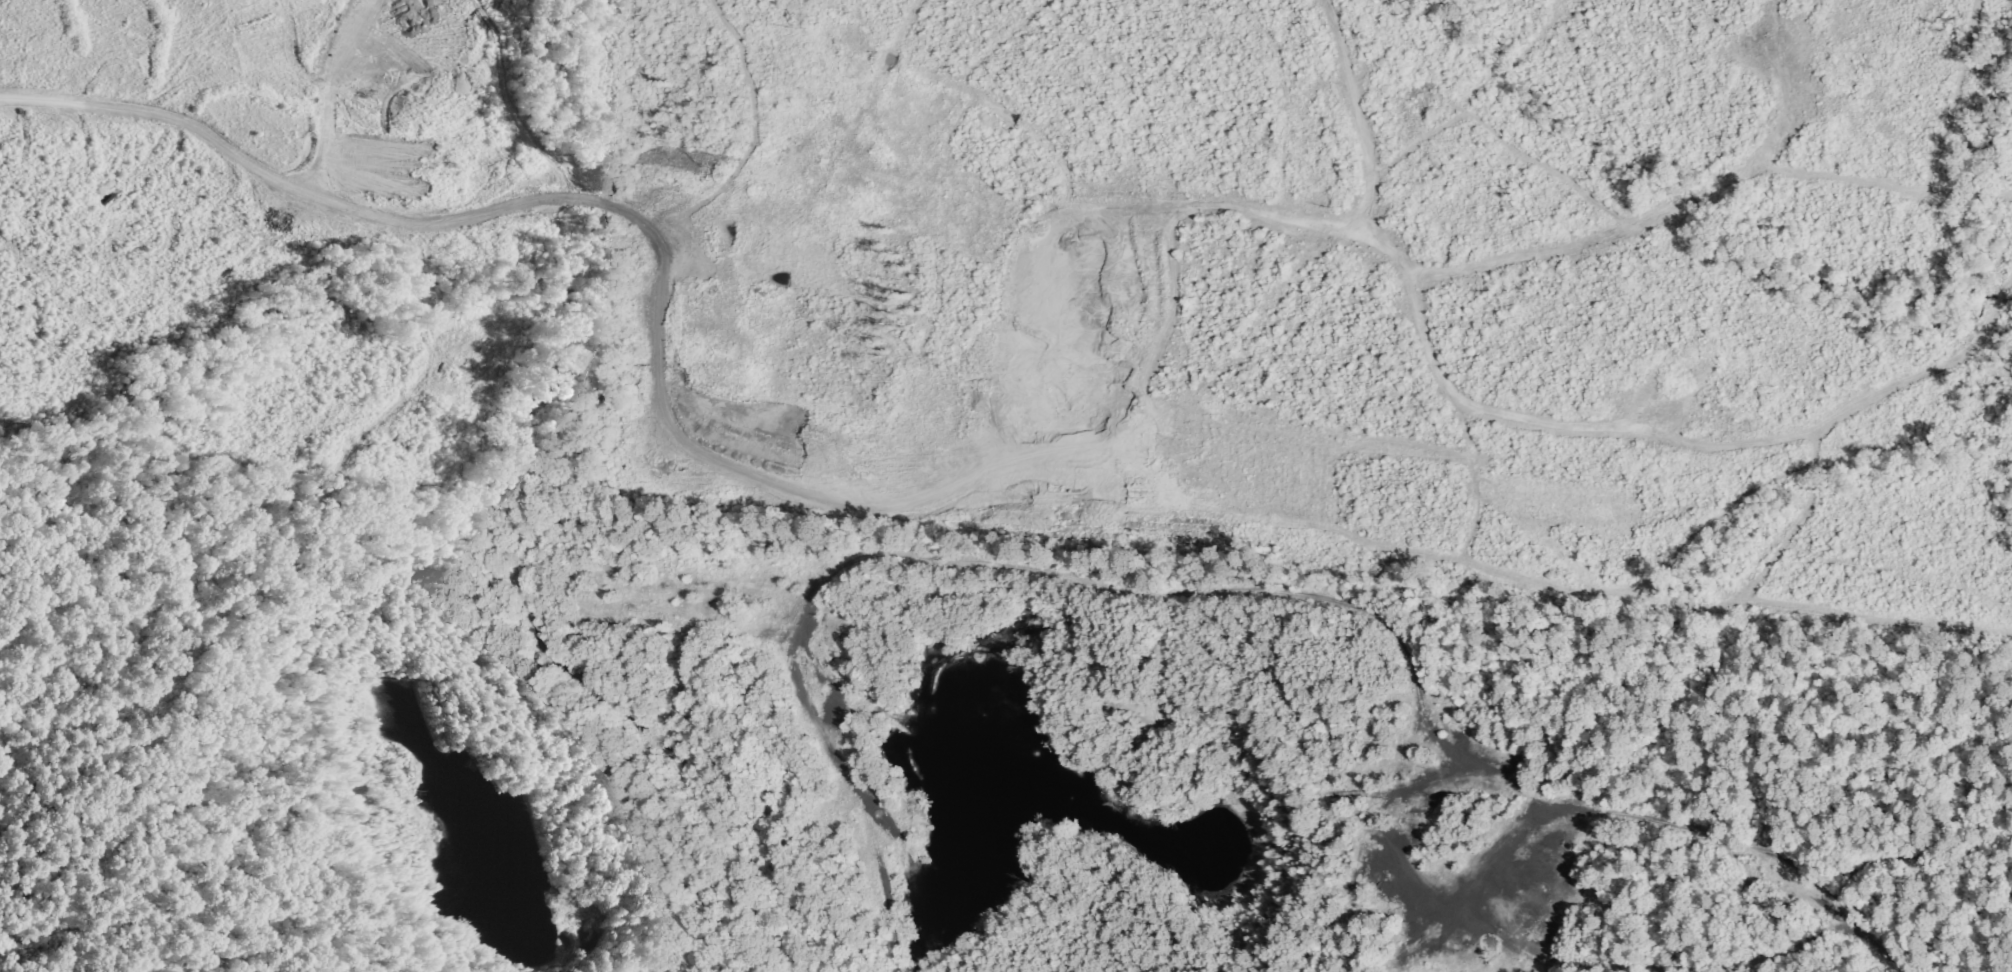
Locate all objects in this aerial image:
road: (1424, 623)

